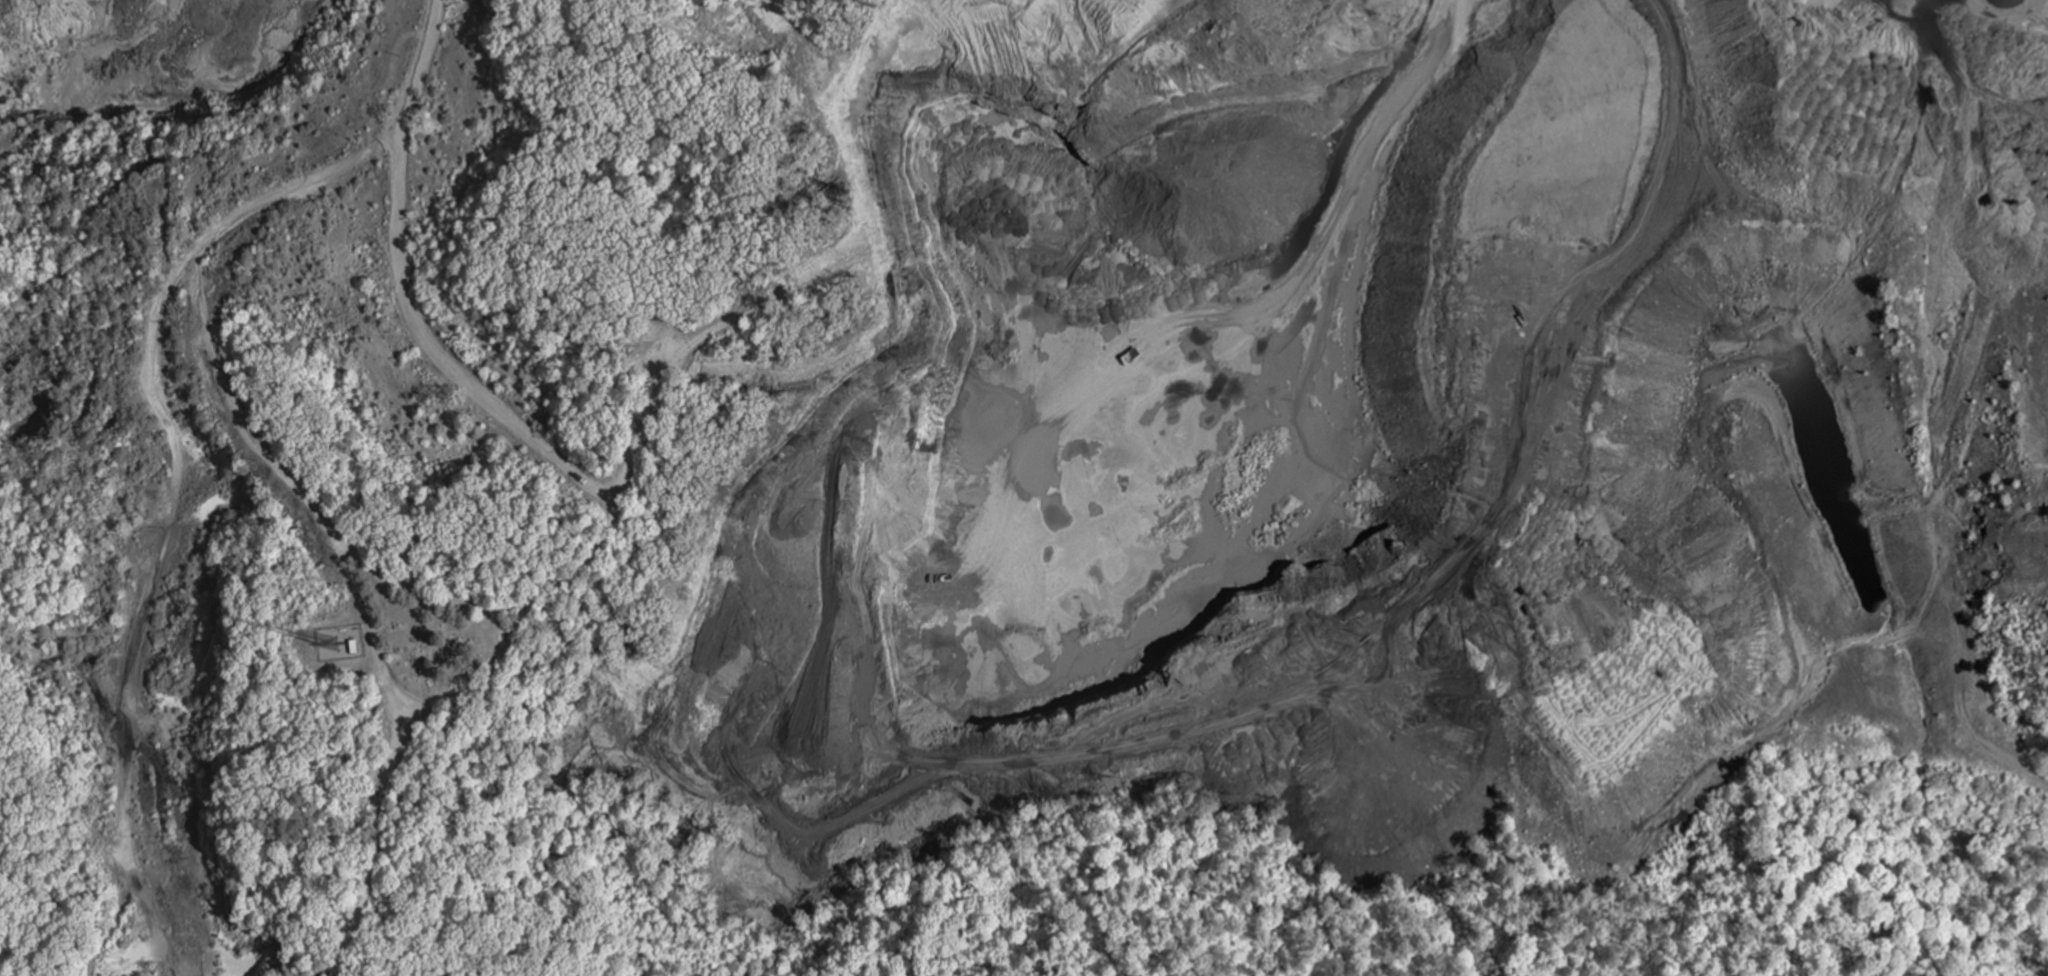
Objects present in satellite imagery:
road: (1306, 265)
road: (444, 355)
road: (659, 383)
road: (316, 518)
road: (372, 637)
park: (433, 638)

